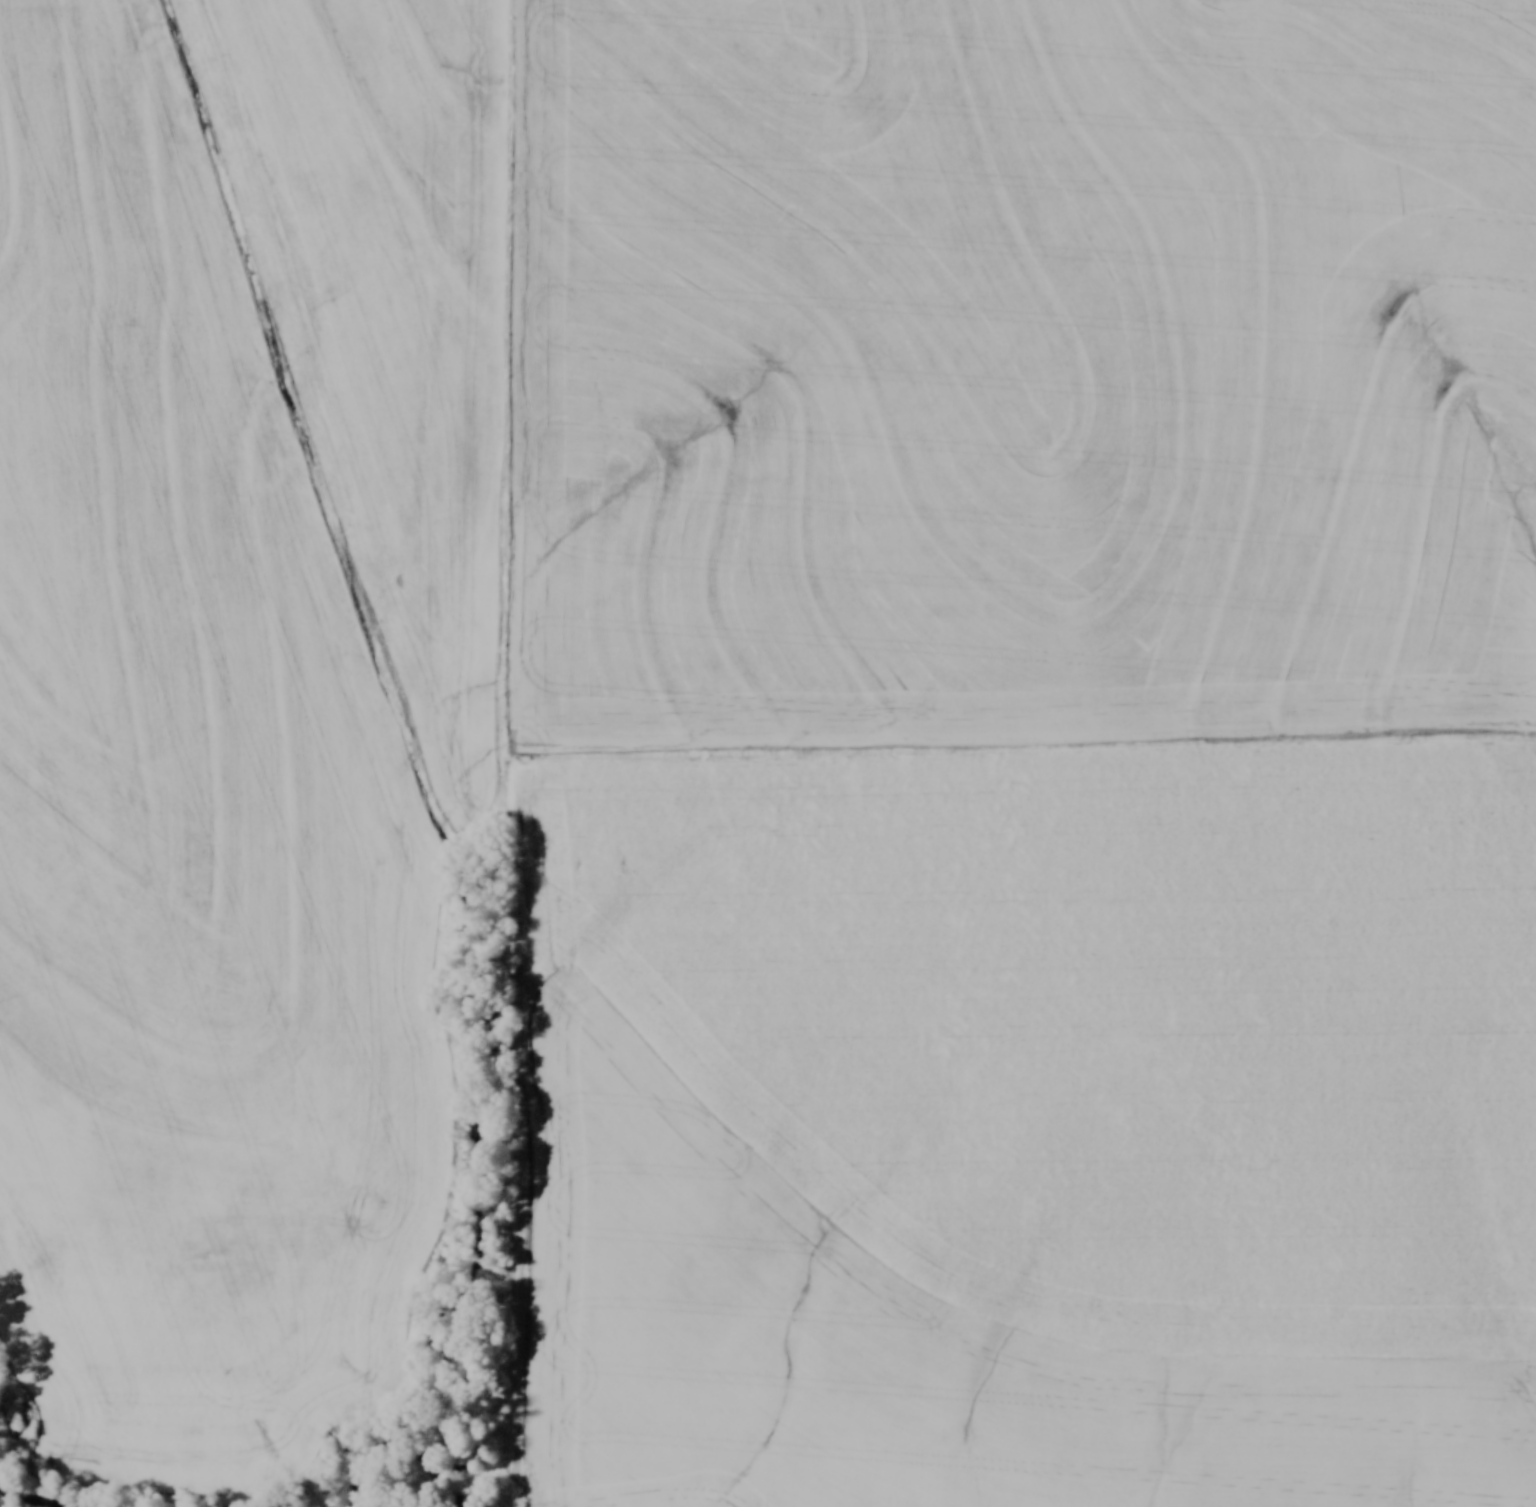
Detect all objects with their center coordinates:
building: (26, 1240)

